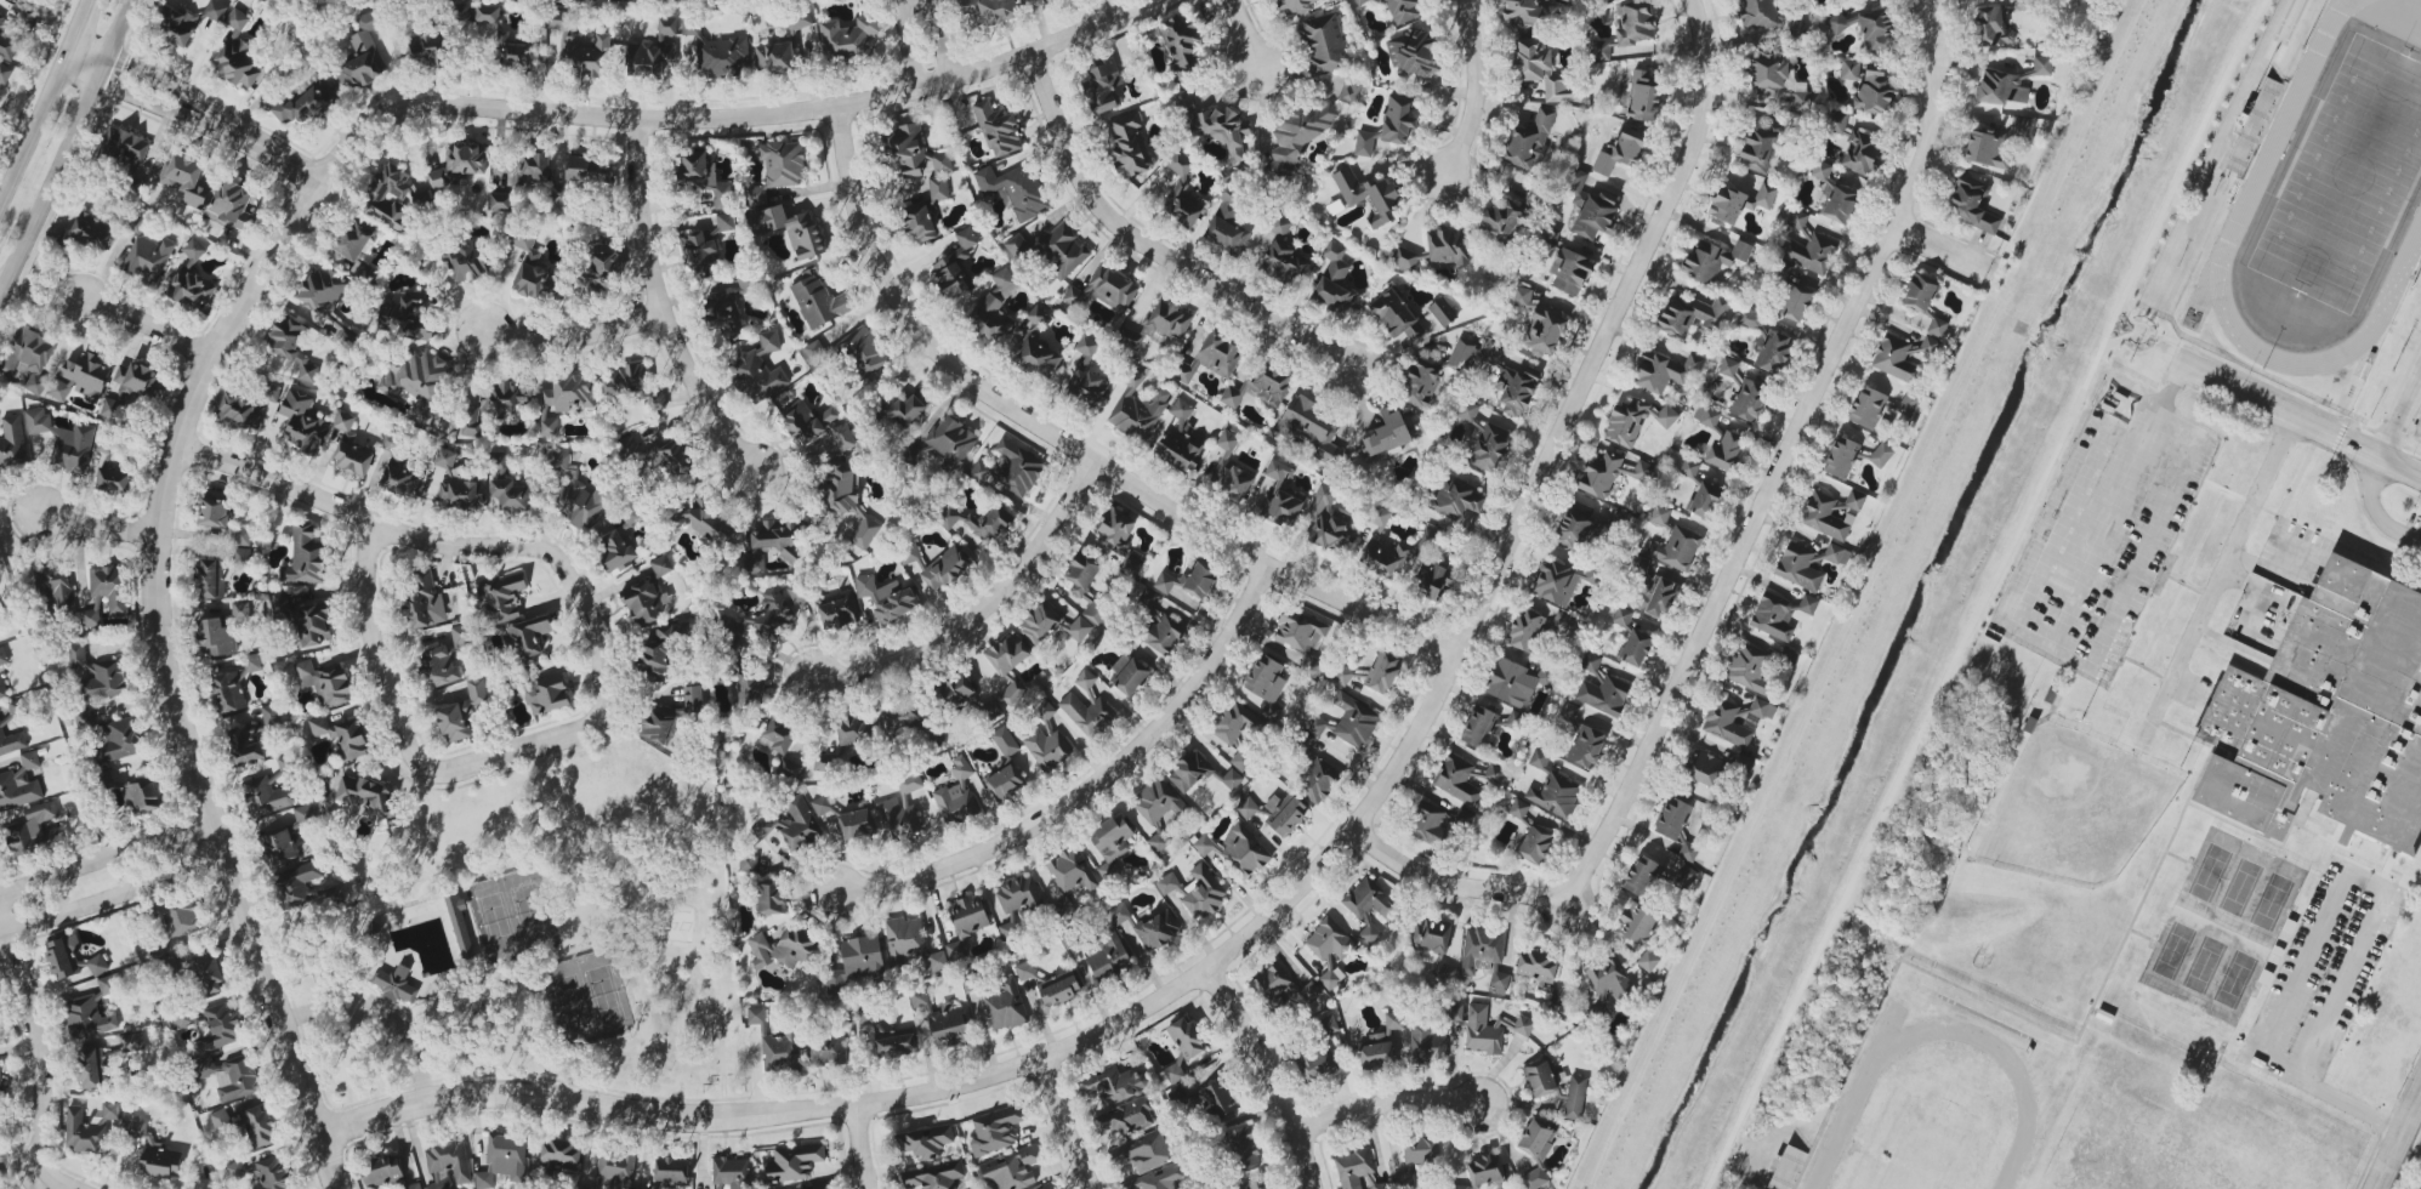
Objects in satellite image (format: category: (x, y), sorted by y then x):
building: (1044, 0)
building: (1359, 1)
building: (2029, 4)
building: (1295, 7)
building: (215, 10)
building: (1403, 10)
building: (987, 11)
building: (462, 13)
building: (1521, 15)
building: (1757, 15)
building: (558, 19)
building: (801, 22)
building: (1633, 22)
building: (1795, 25)
building: (177, 27)
building: (1866, 27)
building: (1991, 28)
track: (2408, 28)
road: (1250, 36)
building: (847, 38)
building: (499, 40)
building: (7, 42)
road: (923, 42)
building: (1323, 44)
building: (426, 50)
building: (1182, 50)
building: (1602, 50)
building: (717, 52)
building: (363, 53)
building: (652, 53)
building: (1413, 53)
building: (237, 55)
building: (586, 56)
building: (774, 58)
building: (2041, 67)
building: (1541, 69)
building: (1849, 69)
building: (5, 73)
building: (1774, 80)
building: (1103, 86)
building: (2002, 87)
building: (1349, 91)
road: (1472, 91)
building: (1874, 92)
building: (1643, 97)
road: (45, 102)
building: (305, 103)
road: (195, 112)
road: (1932, 115)
building: (1397, 120)
building: (1837, 123)
track: (2286, 123)
building: (1214, 126)
building: (998, 130)
building: (1300, 135)
building: (2249, 138)
building: (1529, 140)
building: (1995, 142)
building: (1364, 143)
building: (125, 144)
building: (1129, 146)
building: (1756, 149)
road: (68, 152)
building: (1621, 152)
building: (1858, 152)
building: (916, 153)
building: (782, 164)
building: (459, 166)
building: (530, 167)
building: (1820, 170)
building: (580, 176)
building: (703, 178)
building: (184, 180)
park: (2347, 180)
building: (938, 188)
building: (1016, 189)
building: (1181, 194)
building: (756, 195)
building: (1368, 195)
building: (416, 198)
track: (2329, 200)
building: (1739, 201)
building: (1839, 201)
stadium: (2314, 201)
building: (500, 203)
building: (1972, 204)
building: (234, 205)
building: (1590, 210)
building: (1501, 220)
building: (1798, 221)
building: (726, 222)
building: (919, 222)
building: (1227, 223)
building: (791, 229)
building: (92, 232)
building: (1548, 237)
building: (352, 240)
building: (1448, 245)
building: (525, 246)
road: (1150, 248)
building: (1051, 249)
road: (1940, 249)
building: (699, 252)
building: (1812, 254)
building: (1281, 256)
building: (148, 257)
building: (1404, 257)
building: (1714, 258)
building: (466, 261)
road: (2193, 264)
building: (955, 266)
road: (267, 268)
building: (599, 272)
building: (1569, 272)
building: (192, 279)
building: (529, 280)
building: (1334, 283)
building: (1004, 284)
building: (1113, 286)
building: (322, 291)
building: (1074, 296)
building: (1521, 296)
road: (0, 298)
building: (819, 301)
building: (1796, 302)
building: (1923, 302)
building: (727, 309)
road: (664, 311)
building: (1442, 312)
building: (1038, 313)
building: (1396, 314)
building: (1693, 314)
building: (404, 317)
building: (989, 318)
building: (1750, 319)
building: (1158, 325)
road: (146, 326)
building: (1544, 332)
road: (573, 335)
road: (2144, 335)
road: (2119, 339)
building: (291, 347)
building: (1086, 349)
building: (863, 352)
building: (1773, 352)
building: (817, 353)
building: (1461, 354)
building: (1493, 354)
building: (1903, 355)
building: (29, 358)
building: (1211, 358)
building: (1038, 359)
building: (1728, 368)
building: (760, 369)
building: (1665, 370)
building: (83, 376)
building: (138, 377)
building: (416, 381)
building: (631, 383)
building: (1420, 383)
road: (2173, 385)
building: (1085, 387)
building: (1261, 387)
building: (1516, 388)
building: (272, 393)
building: (564, 399)
building: (1749, 400)
road: (2301, 400)
building: (1908, 404)
building: (1137, 406)
building: (494, 408)
building: (1868, 408)
road: (2399, 409)
building: (902, 410)
building: (239, 411)
building: (1706, 415)
road: (2255, 415)
road: (2302, 419)
building: (302, 420)
building: (1633, 421)
building: (815, 425)
building: (1311, 428)
building: (1387, 433)
road: (2340, 436)
building: (1181, 439)
building: (1484, 439)
building: (63, 440)
building: (12, 443)
building: (944, 445)
road: (1075, 446)
building: (349, 448)
building: (1724, 451)
building: (1881, 455)
building: (669, 456)
building: (1840, 457)
building: (1689, 468)
building: (398, 470)
building: (1011, 471)
building: (1229, 472)
building: (1610, 473)
building: (113, 480)
building: (455, 483)
building: (506, 485)
building: (575, 494)
building: (1280, 496)
building: (1456, 499)
building: (1703, 500)
building: (848, 501)
building: (214, 510)
road: (2372, 510)
building: (1831, 512)
building: (1659, 516)
road: (2278, 516)
building: (1329, 520)
building: (978, 522)
building: (707, 523)
road: (95, 524)
parking lot: (2105, 533)
building: (243, 536)
building: (1119, 539)
building: (619, 542)
road: (444, 545)
building: (769, 546)
building: (1382, 547)
building: (1676, 548)
building: (1836, 554)
building: (241, 556)
building: (307, 557)
building: (934, 567)
road: (2222, 567)
building: (1798, 568)
building: (660, 570)
building: (1431, 570)
building: (210, 579)
building: (1557, 581)
building: (1188, 584)
building: (55, 585)
building: (110, 587)
building: (1086, 587)
building: (1653, 591)
road: (1987, 593)
building: (797, 594)
river: (1915, 594)
building: (501, 597)
building: (886, 597)
building: (424, 601)
building: (644, 603)
road: (982, 608)
building: (840, 611)
building: (1779, 614)
building: (1621, 616)
building: (762, 618)
building: (91, 619)
building: (1040, 622)
building: (1563, 622)
building: (312, 624)
building: (1158, 626)
building: (1079, 628)
building: (1527, 631)
building: (216, 638)
building: (459, 638)
building: (1301, 639)
building: (528, 641)
building: (1636, 648)
road: (376, 649)
building: (657, 649)
building: (1007, 654)
building: (4, 656)
building: (1591, 662)
road: (2080, 662)
building: (438, 666)
road: (1687, 666)
building: (1747, 669)
building: (1382, 671)
building: (1129, 675)
building: (1342, 675)
building: (96, 676)
building: (1265, 678)
building: (1514, 682)
building: (325, 684)
building: (745, 684)
building: (233, 687)
building: (2, 689)
building: (546, 694)
building: (962, 694)
building: (1603, 695)
building: (694, 699)
building: (1087, 707)
building: (1762, 709)
building: (462, 712)
building: (903, 716)
building: (271, 717)
building: (2326, 717)
building: (1235, 721)
building: (1347, 722)
building: (660, 724)
building: (1726, 724)
building: (1, 727)
building: (1478, 727)
building: (854, 729)
building: (778, 735)
building: (342, 736)
building: (938, 738)
building: (118, 739)
building: (1046, 739)
building: (1581, 739)
building: (244, 746)
road: (511, 751)
building: (1539, 758)
building: (1007, 760)
building: (1703, 768)
building: (789, 770)
building: (1189, 770)
building: (1487, 774)
building: (1318, 780)
building: (1456, 780)
building: (910, 783)
building: (21, 784)
road: (1096, 786)
building: (141, 795)
building: (956, 795)
building: (1555, 795)
building: (368, 798)
building: (1159, 801)
building: (822, 806)
building: (1248, 808)
building: (1518, 808)
building: (303, 814)
building: (1284, 814)
building: (1671, 818)
building: (897, 819)
building: (791, 823)
building: (854, 824)
building: (1437, 824)
road: (2300, 827)
building: (35, 832)
building: (1159, 842)
building: (1110, 843)
building: (1535, 844)
building: (1237, 849)
building: (1688, 852)
road: (2177, 857)
building: (748, 863)
building: (1070, 877)
building: (1643, 877)
building: (1684, 878)
road: (110, 880)
road: (2366, 881)
building: (297, 883)
building: (1195, 891)
building: (772, 899)
building: (1017, 900)
road: (1278, 903)
building: (1369, 908)
park: (510, 914)
building: (968, 915)
building: (180, 918)
building: (1637, 922)
building: (460, 926)
road: (2, 932)
building: (1431, 935)
road: (2141, 935)
building: (904, 939)
park: (539, 940)
building: (783, 949)
building: (1329, 950)
building: (954, 951)
building: (66, 956)
building: (1484, 956)
building: (1109, 957)
building: (939, 960)
building: (1647, 961)
building: (856, 962)
building: (97, 965)
building: (1536, 967)
building: (1024, 971)
building: (1442, 971)
building: (206, 972)
parking lot: (2314, 973)
building: (1609, 979)
building: (396, 984)
building: (1058, 988)
building: (1281, 988)
building: (1552, 996)
park: (586, 997)
road: (714, 1005)
building: (1005, 1006)
building: (92, 1011)
building: (1599, 1011)
building: (942, 1020)
building: (1326, 1025)
building: (218, 1028)
road: (374, 1028)
building: (1490, 1029)
road: (2079, 1032)
building: (1186, 1037)
building: (132, 1042)
building: (772, 1043)
building: (896, 1045)
building: (1379, 1046)
building: (1427, 1046)
building: (826, 1049)
road: (42, 1062)
building: (1317, 1063)
building: (91, 1068)
road: (1273, 1074)
building: (231, 1076)
building: (1540, 1077)
building: (1, 1083)
building: (1113, 1086)
track: (1858, 1092)
building: (1575, 1098)
road: (2329, 1098)
building: (1218, 1099)
road: (1388, 1102)
building: (1124, 1117)
road: (1067, 1123)
building: (246, 1125)
building: (98, 1127)
building: (995, 1130)
building: (927, 1142)
road: (2399, 1142)
road: (859, 1147)
building: (1240, 1148)
building: (1421, 1150)
building: (1536, 1150)
building: (1144, 1151)
building: (561, 1155)
park: (2138, 1157)
building: (504, 1160)
building: (160, 1161)
building: (794, 1162)
building: (448, 1165)
building: (1353, 1167)
building: (615, 1168)
building: (235, 1170)
building: (1011, 1170)
building: (381, 1171)
building: (671, 1171)
building: (1485, 1171)
building: (729, 1172)
building: (1784, 1172)
building: (272, 1173)
building: (934, 1176)
building: (1370, 1178)
building: (1047, 1184)
building: (1258, 1185)
building: (414, 1187)
building: (819, 1187)
building: (1459, 1187)

